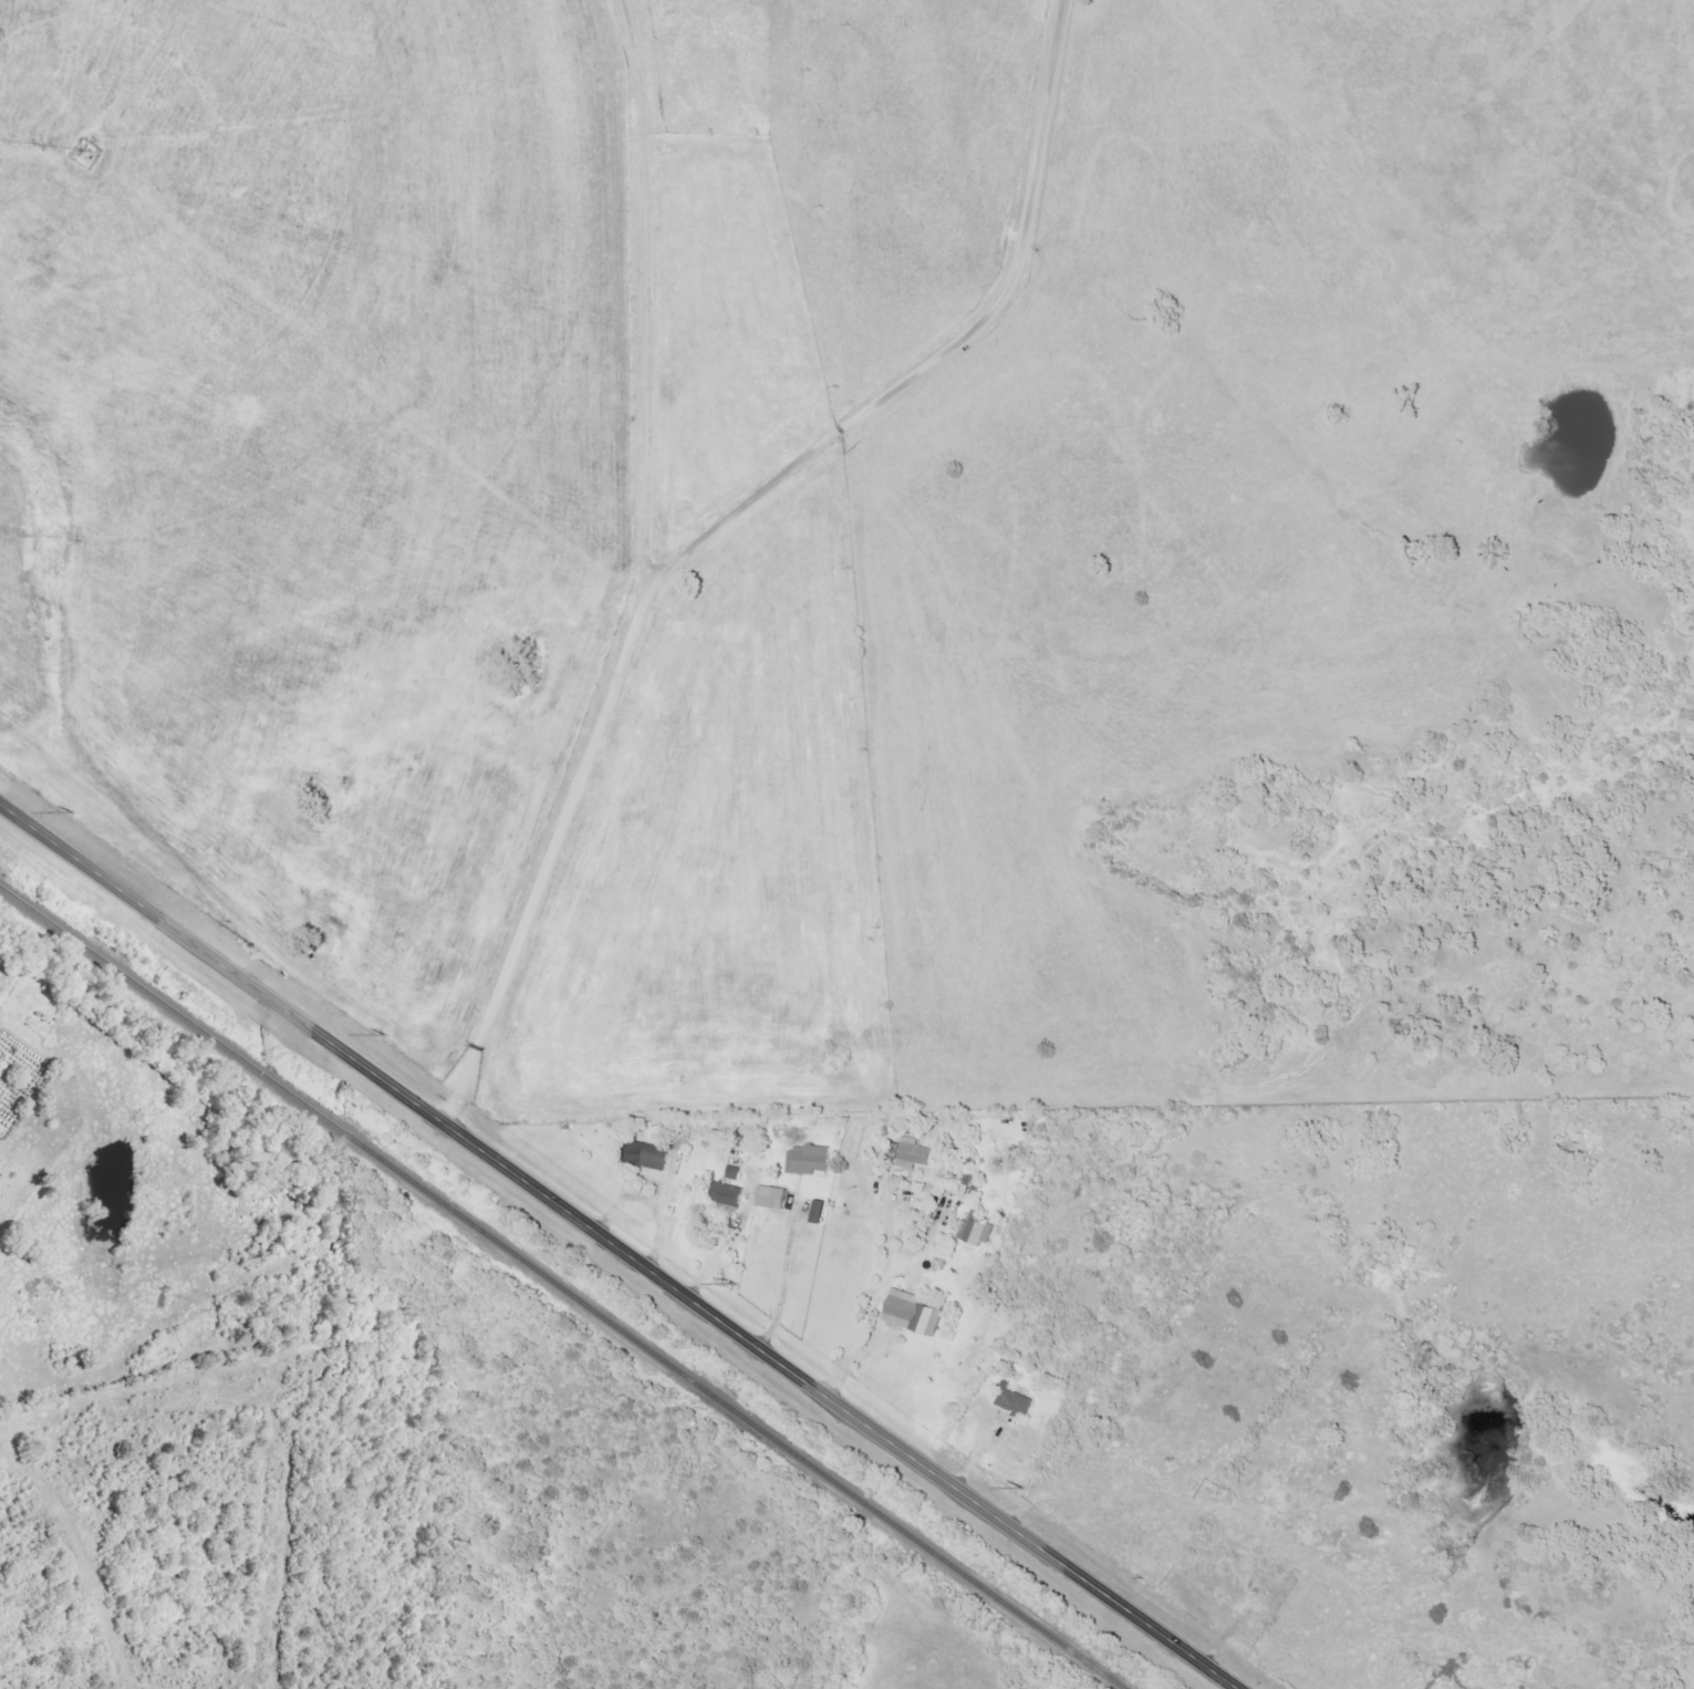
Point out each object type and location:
road: (723, 526)
power tower: (75, 814)
power tower: (387, 1036)
building: (678, 1143)
building: (914, 1154)
building: (646, 1157)
building: (808, 1161)
building: (966, 1178)
building: (726, 1195)
building: (771, 1199)
building: (977, 1230)
road: (617, 1246)
power tower: (737, 1285)
road: (782, 1285)
railway: (562, 1291)
road: (876, 1301)
building: (911, 1314)
building: (1014, 1403)
power tower: (1025, 1489)

